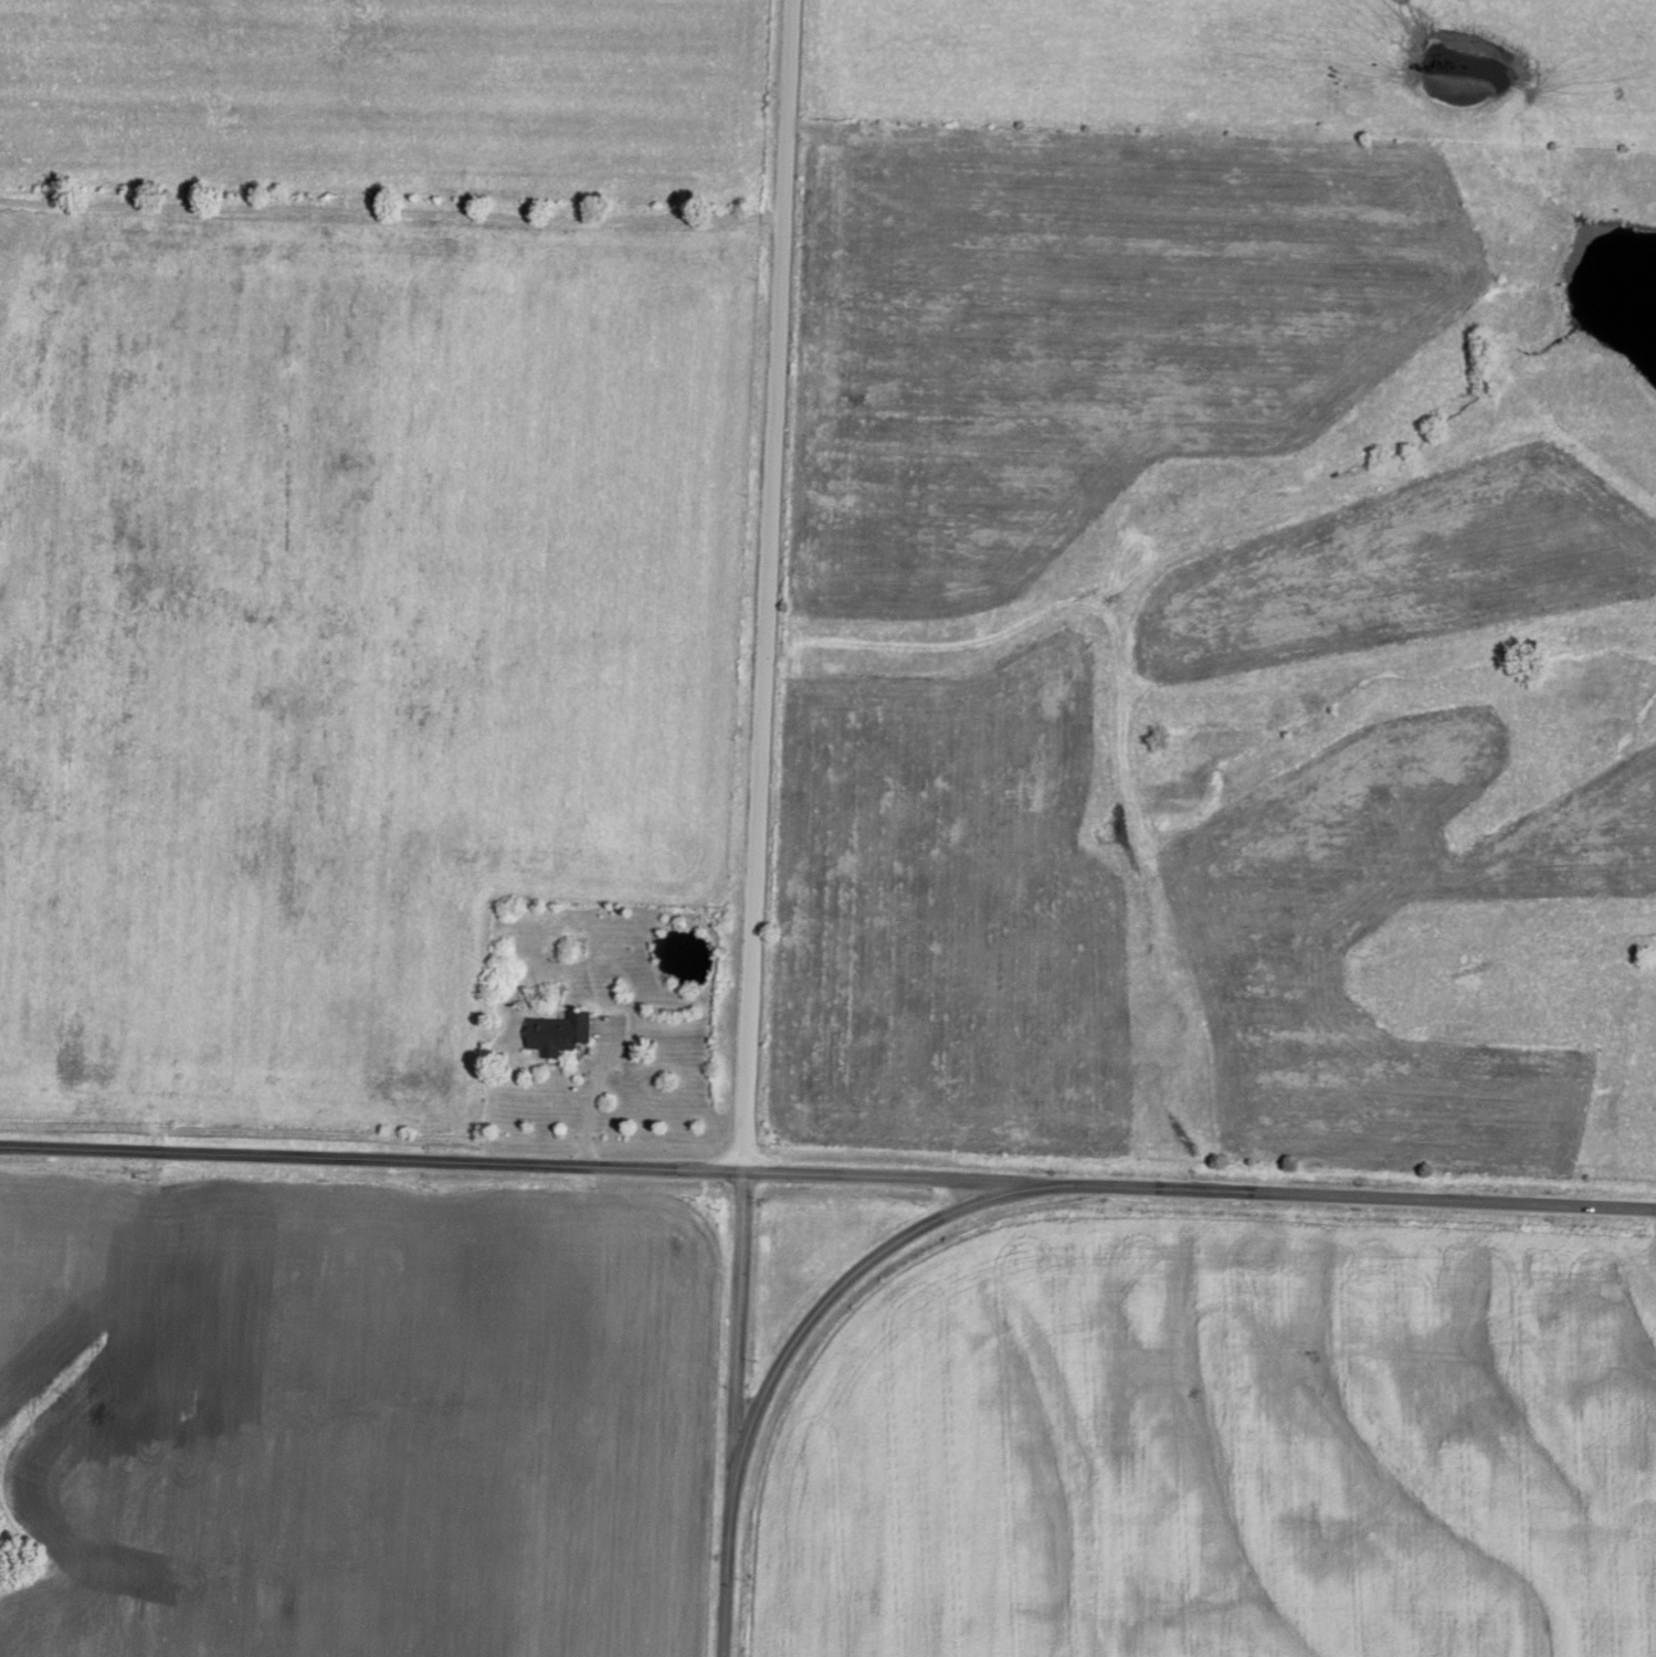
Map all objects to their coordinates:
road: (764, 583)
road: (589, 1108)
road: (371, 1161)
road: (886, 1173)
road: (1341, 1193)
road: (832, 1295)
road: (732, 1412)

